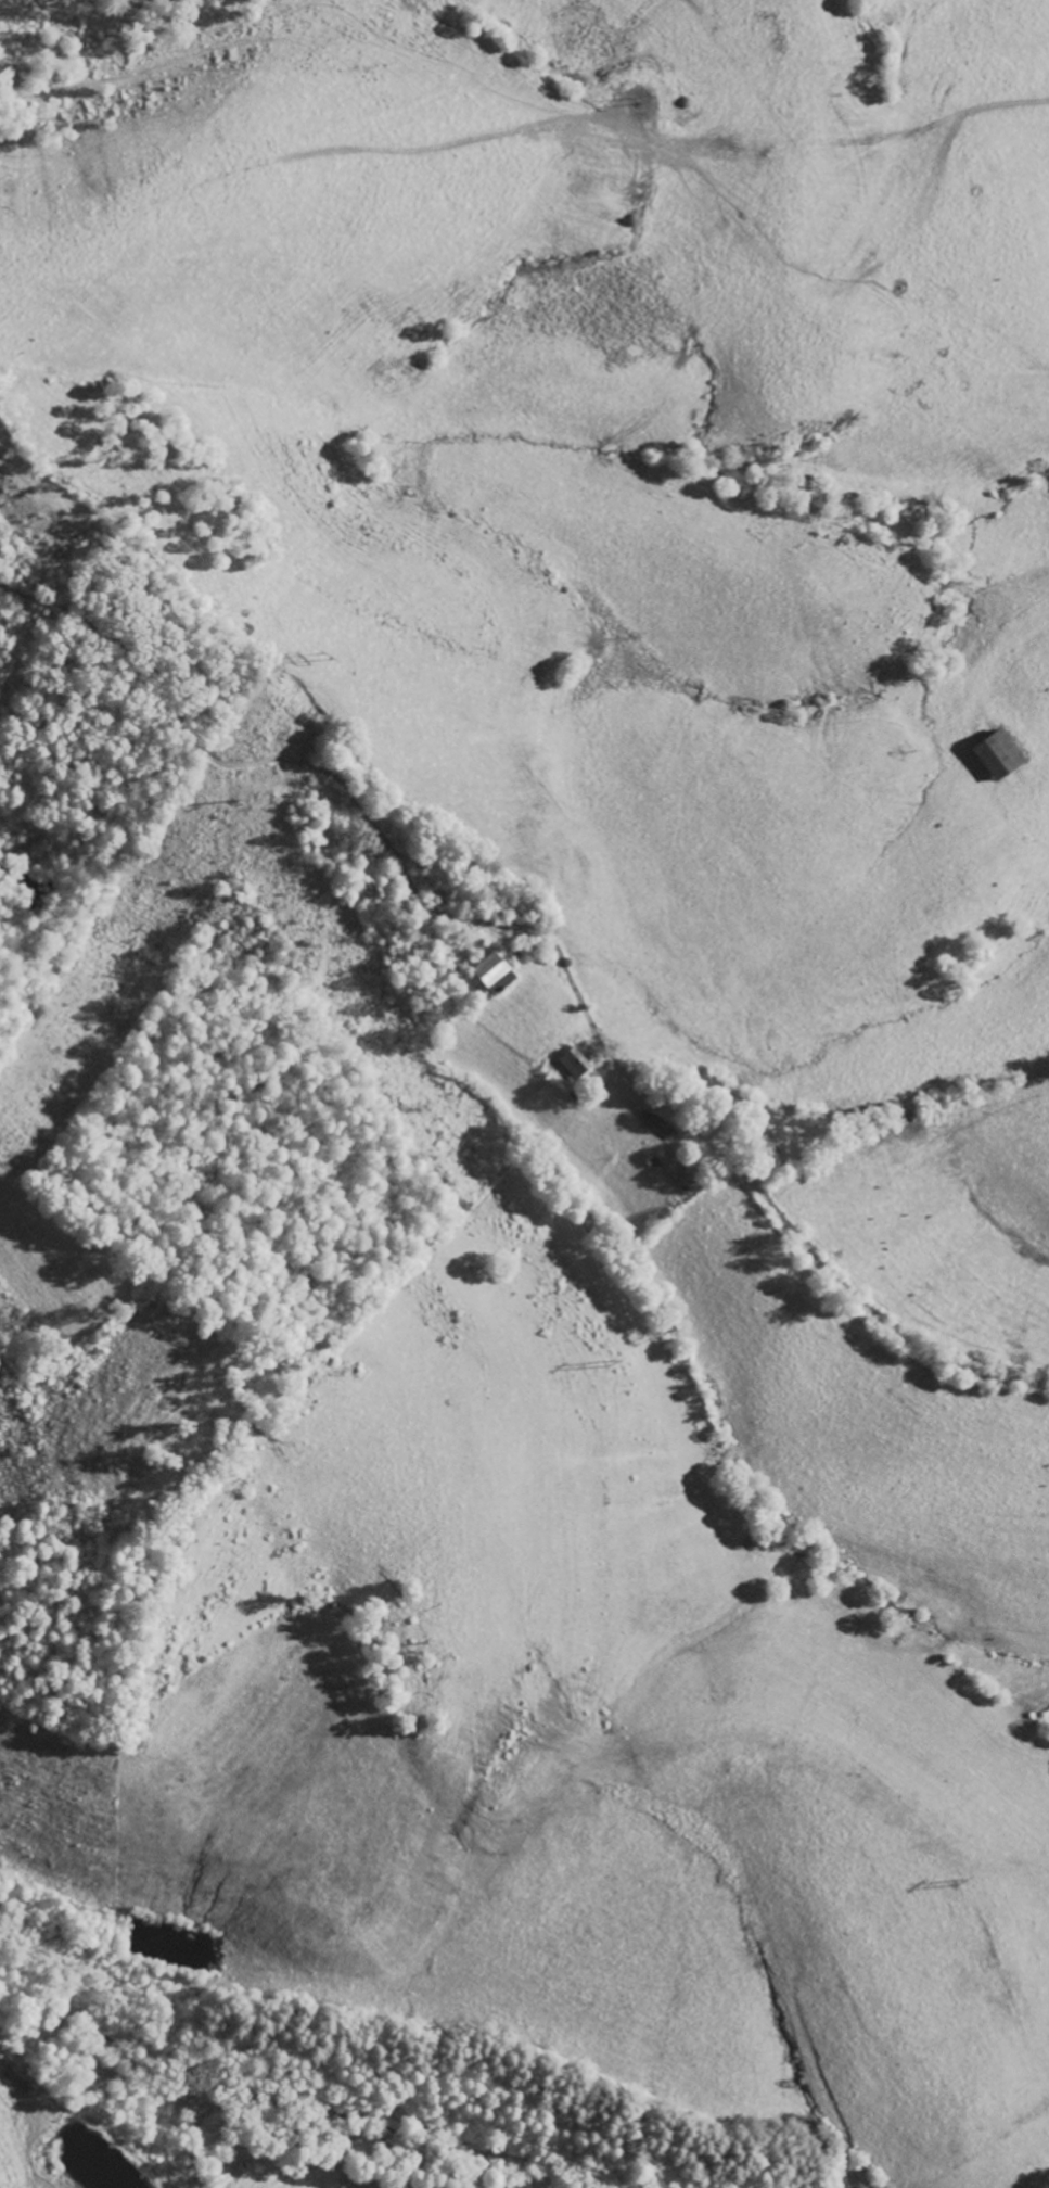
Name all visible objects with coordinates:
power tower: (640, 99)
power tower: (330, 653)
building: (992, 755)
power tower: (230, 800)
building: (489, 972)
building: (571, 1060)
road: (868, 1312)
power tower: (616, 1361)
power tower: (959, 1883)

